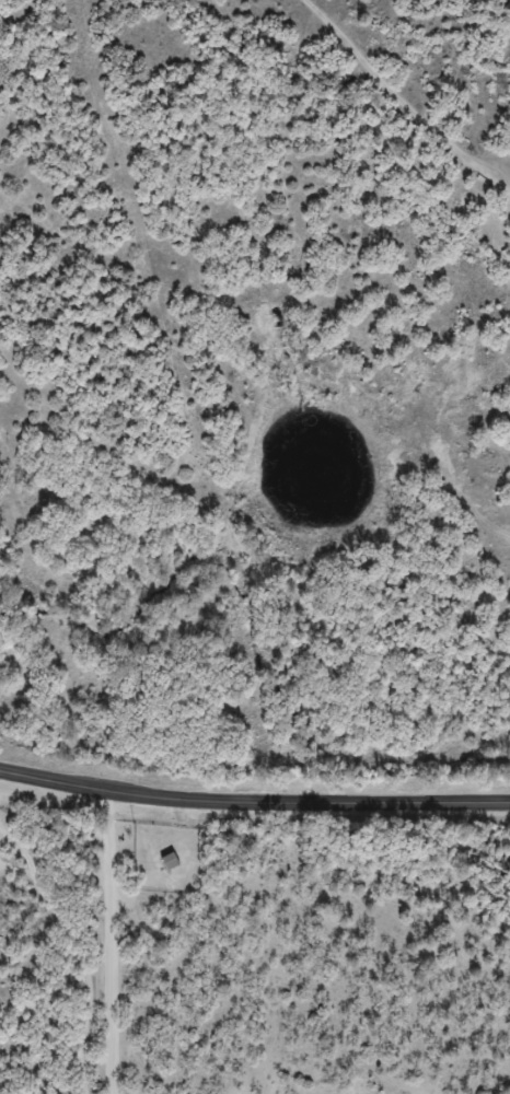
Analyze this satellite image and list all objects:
road: (253, 803)
building: (172, 862)

